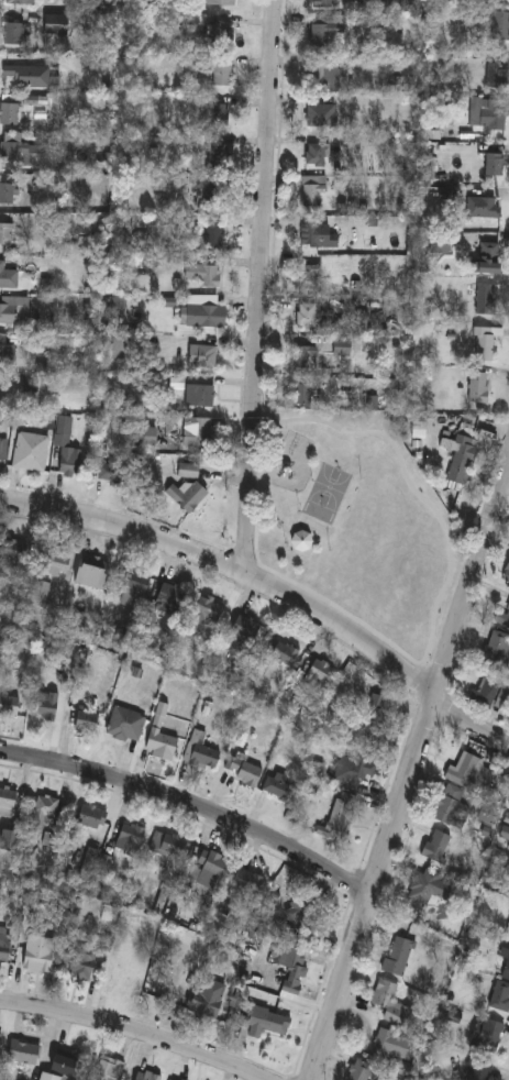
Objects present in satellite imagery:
building: (23, 3)
building: (325, 4)
building: (499, 27)
building: (325, 33)
building: (223, 36)
building: (15, 37)
building: (222, 73)
building: (31, 76)
building: (327, 78)
building: (496, 78)
building: (35, 102)
building: (11, 115)
building: (318, 115)
building: (494, 117)
building: (218, 118)
building: (18, 153)
building: (219, 156)
building: (319, 156)
building: (495, 166)
building: (316, 194)
building: (8, 196)
building: (218, 197)
building: (483, 209)
building: (214, 233)
building: (7, 235)
building: (317, 236)
building: (440, 249)
building: (487, 260)
building: (206, 276)
building: (8, 277)
building: (311, 278)
road: (259, 285)
building: (485, 301)
building: (119, 309)
building: (13, 311)
building: (204, 317)
building: (309, 318)
building: (483, 346)
building: (7, 352)
building: (204, 357)
building: (307, 360)
building: (477, 389)
building: (201, 397)
building: (305, 397)
building: (204, 434)
building: (3, 450)
building: (31, 454)
building: (461, 461)
building: (70, 463)
building: (189, 472)
building: (112, 475)
building: (187, 498)
park: (361, 525)
building: (305, 543)
building: (13, 551)
building: (59, 563)
building: (92, 573)
building: (131, 584)
road: (270, 586)
building: (41, 595)
building: (168, 600)
building: (208, 611)
building: (502, 618)
building: (243, 632)
building: (497, 651)
building: (283, 655)
building: (320, 674)
building: (484, 695)
building: (10, 707)
building: (46, 707)
building: (87, 723)
building: (374, 723)
building: (125, 726)
building: (161, 745)
building: (201, 752)
building: (242, 772)
building: (352, 772)
building: (469, 775)
building: (280, 792)
road: (413, 794)
building: (8, 803)
road: (197, 807)
building: (452, 809)
building: (43, 814)
building: (486, 815)
building: (92, 817)
building: (346, 818)
building: (11, 840)
building: (49, 840)
building: (131, 840)
building: (169, 845)
building: (434, 848)
building: (208, 870)
building: (246, 882)
building: (423, 886)
building: (305, 914)
building: (5, 947)
building: (398, 958)
building: (40, 961)
building: (82, 963)
building: (289, 968)
building: (186, 981)
building: (499, 996)
building: (390, 1004)
building: (202, 1009)
building: (267, 1024)
road: (134, 1031)
building: (488, 1037)
building: (394, 1047)
building: (1, 1048)
building: (24, 1054)
building: (68, 1066)
building: (108, 1070)
building: (479, 1070)
building: (359, 1071)
building: (51, 1077)
building: (145, 1077)

